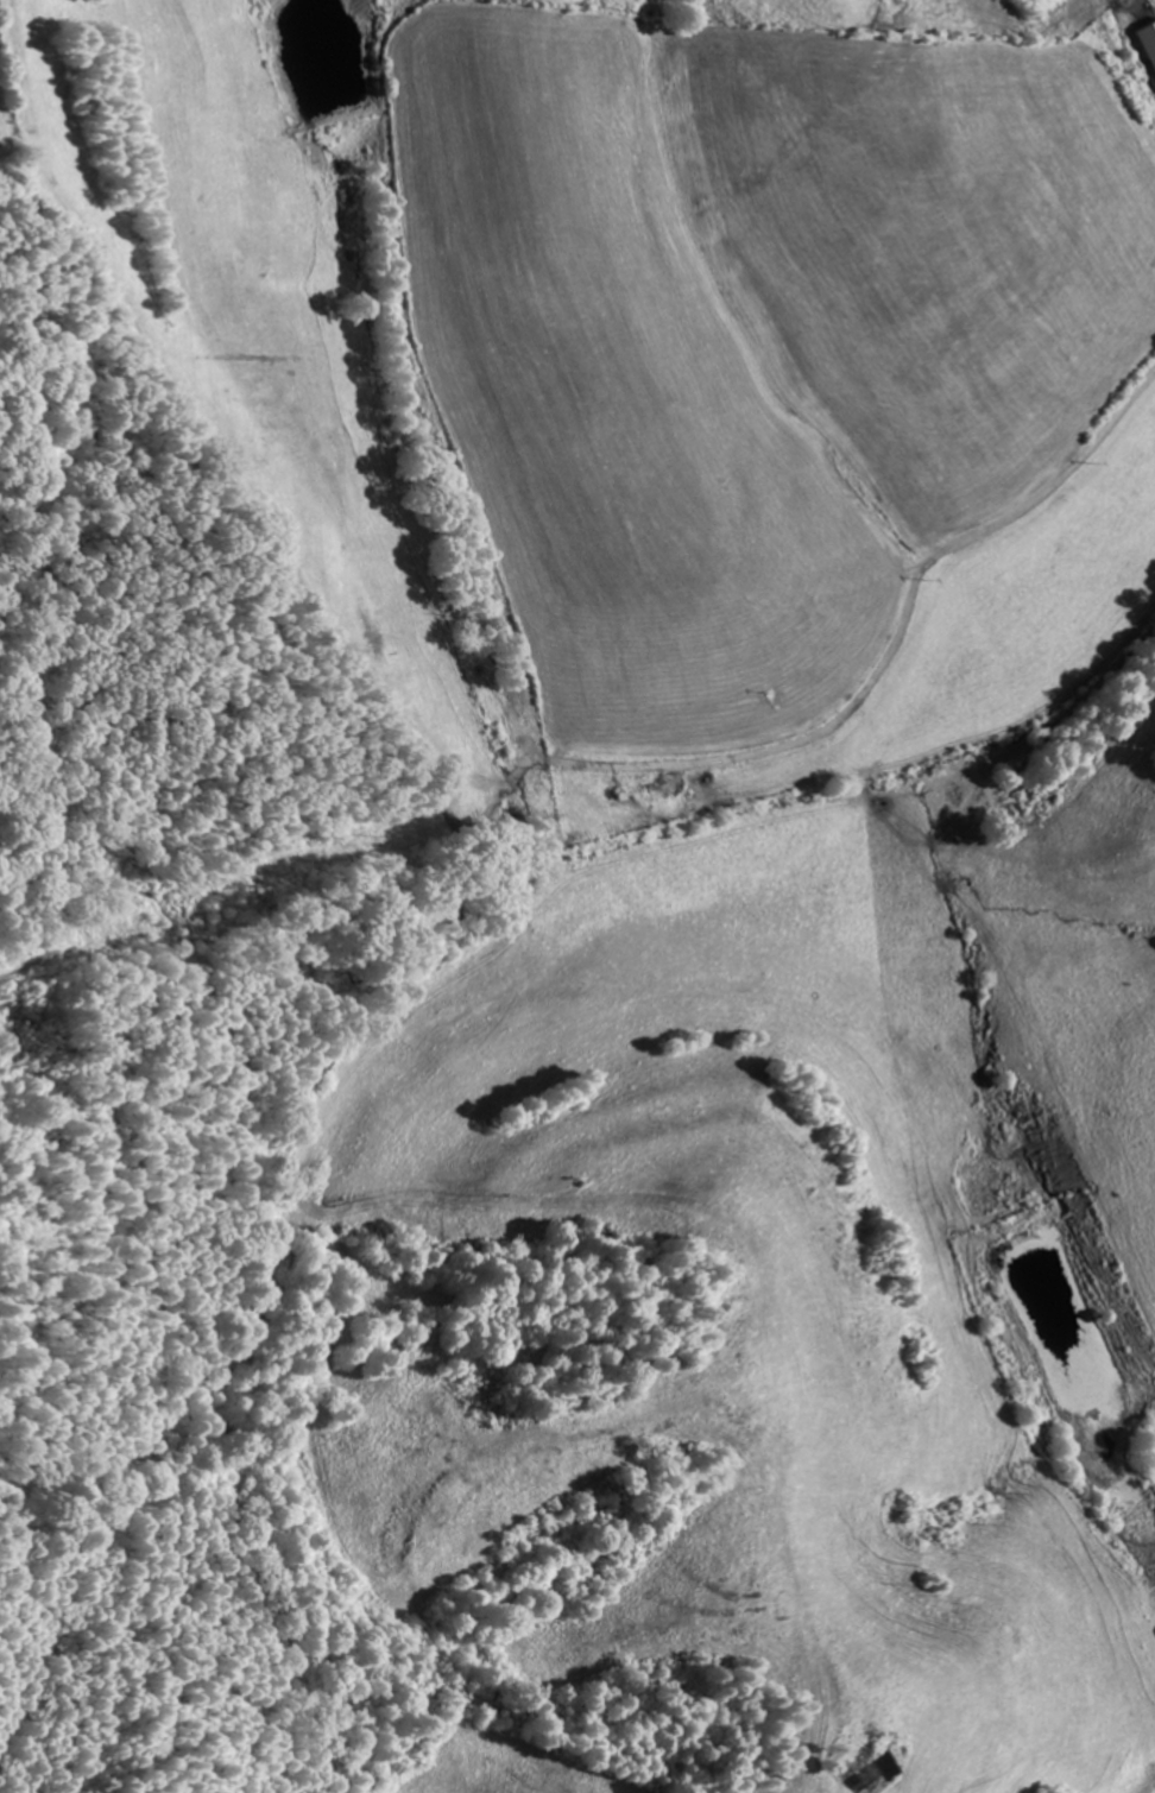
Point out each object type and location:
building: (1151, 37)
building: (850, 1745)

